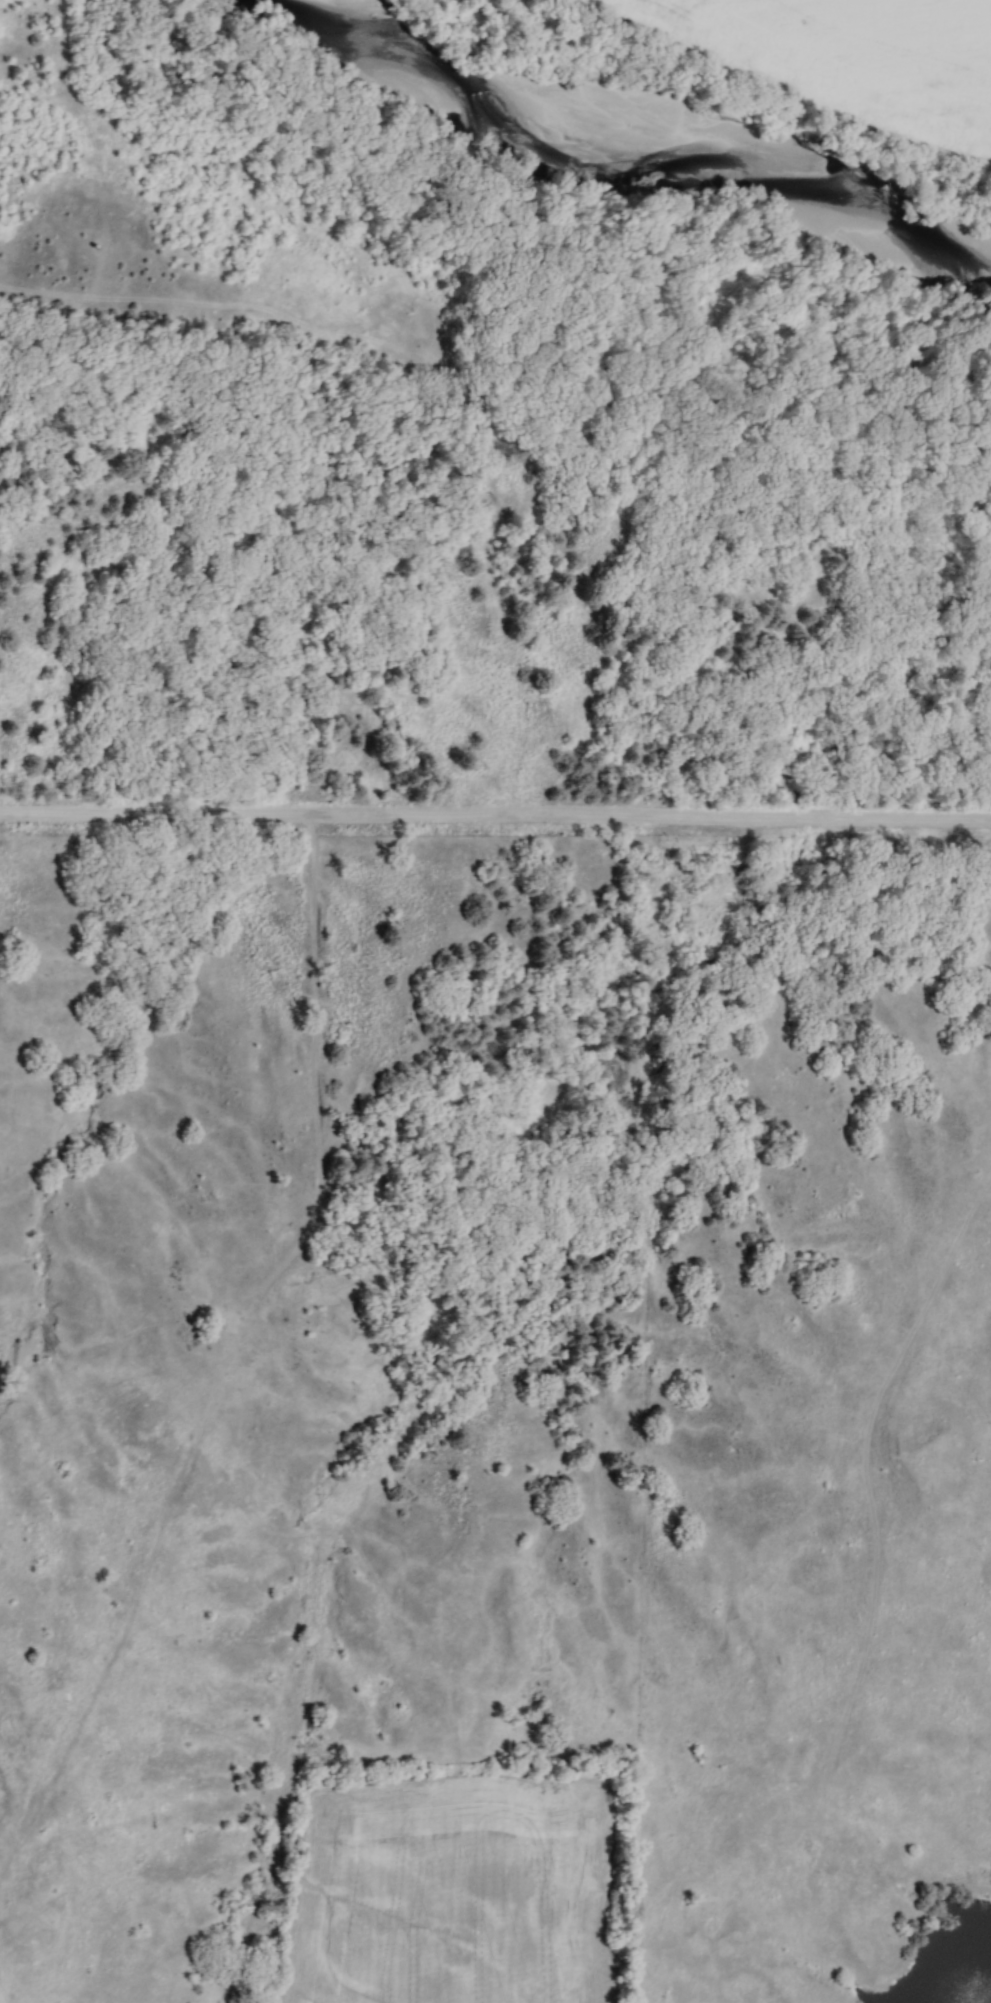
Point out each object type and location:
river: (647, 140)
road: (495, 812)

